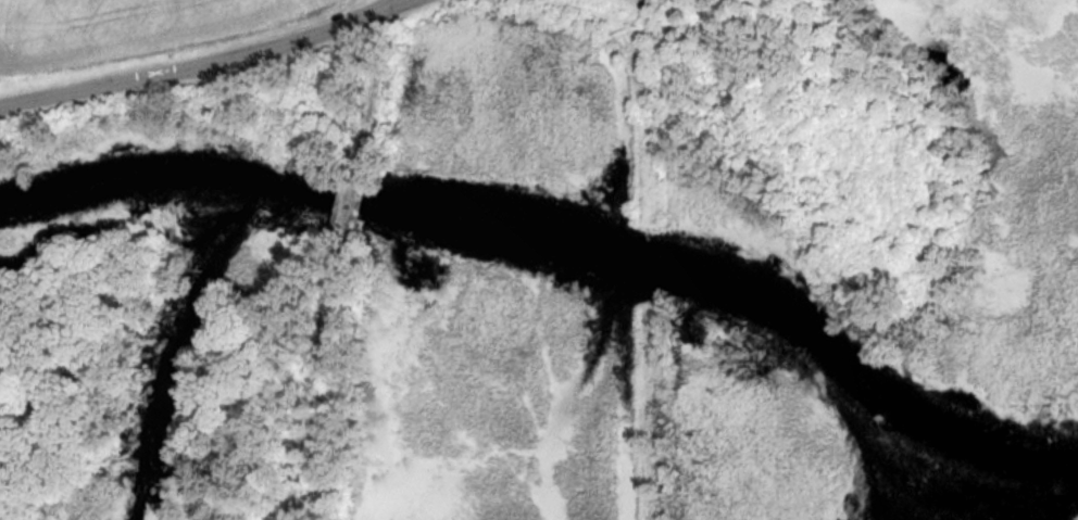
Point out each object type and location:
crop: (106, 20)
road: (206, 64)

